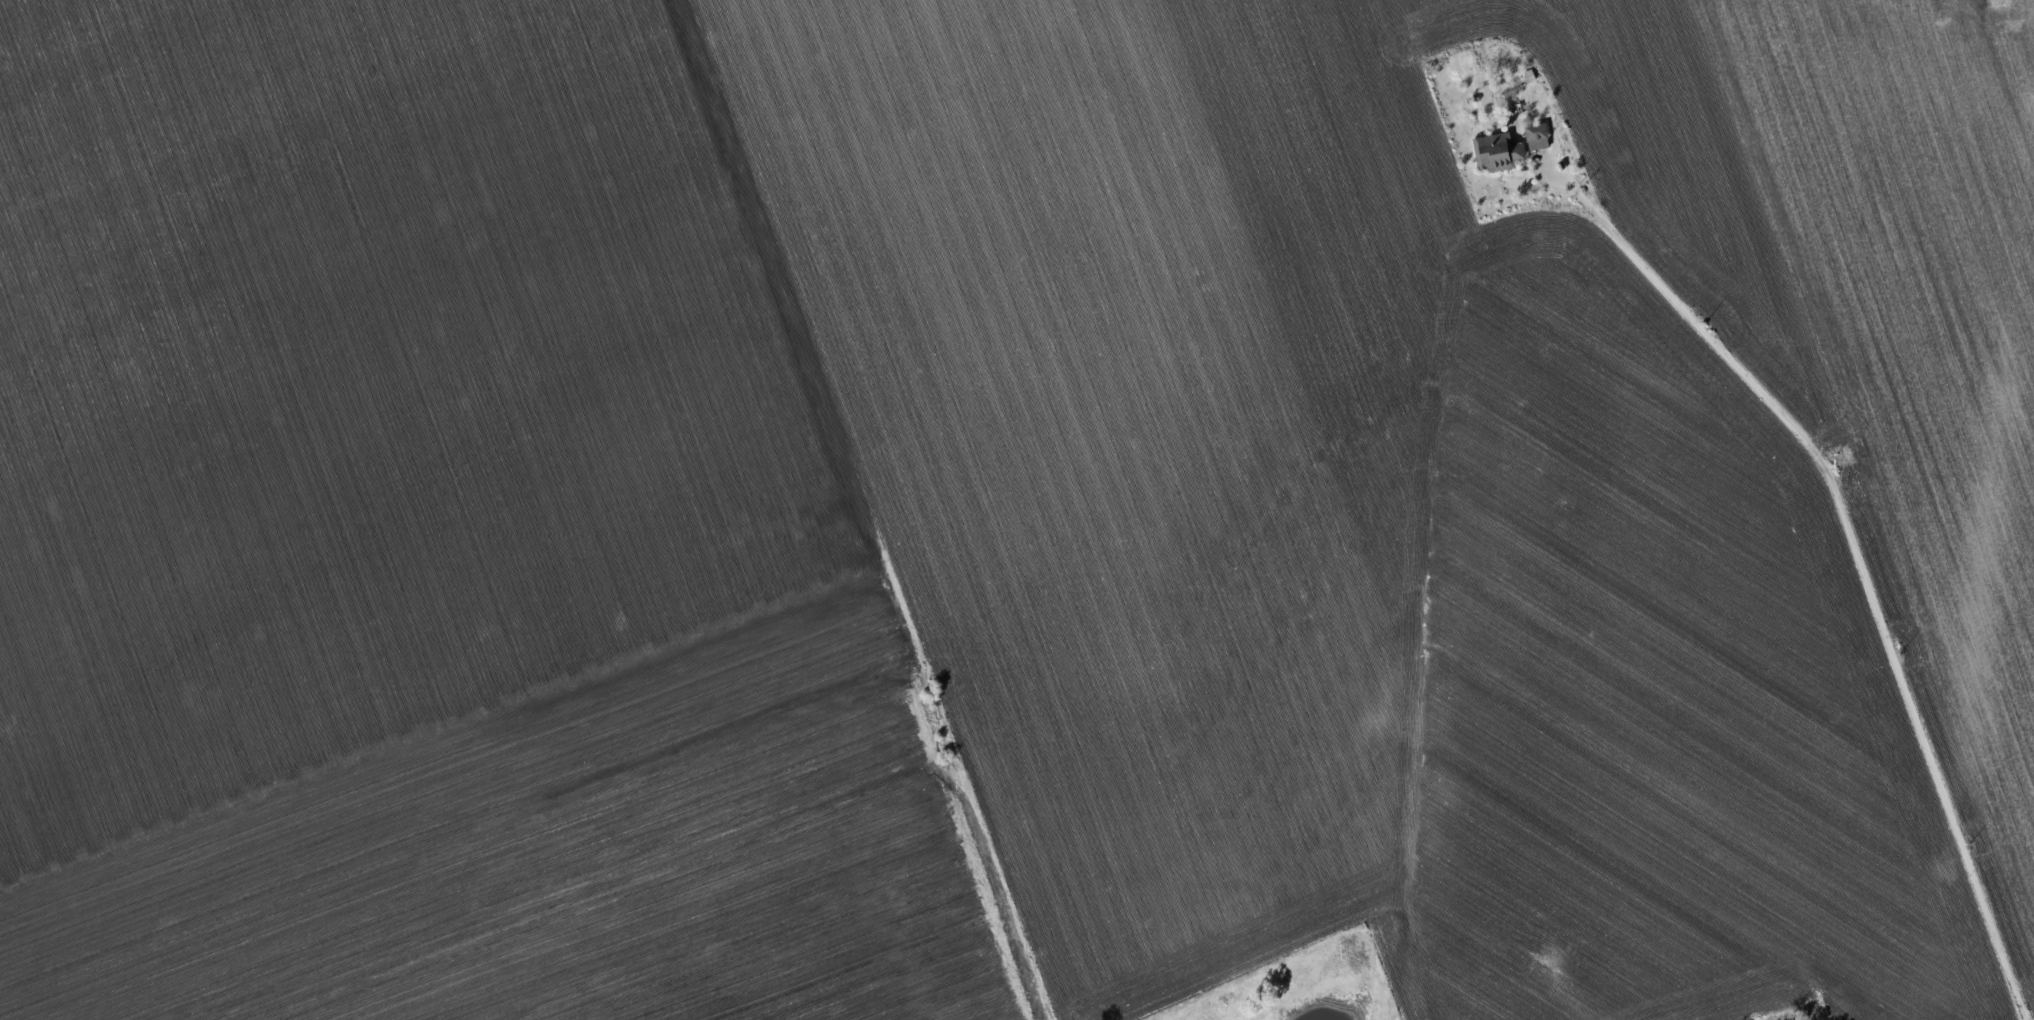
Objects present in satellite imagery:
building: (1498, 151)
road: (1862, 562)

